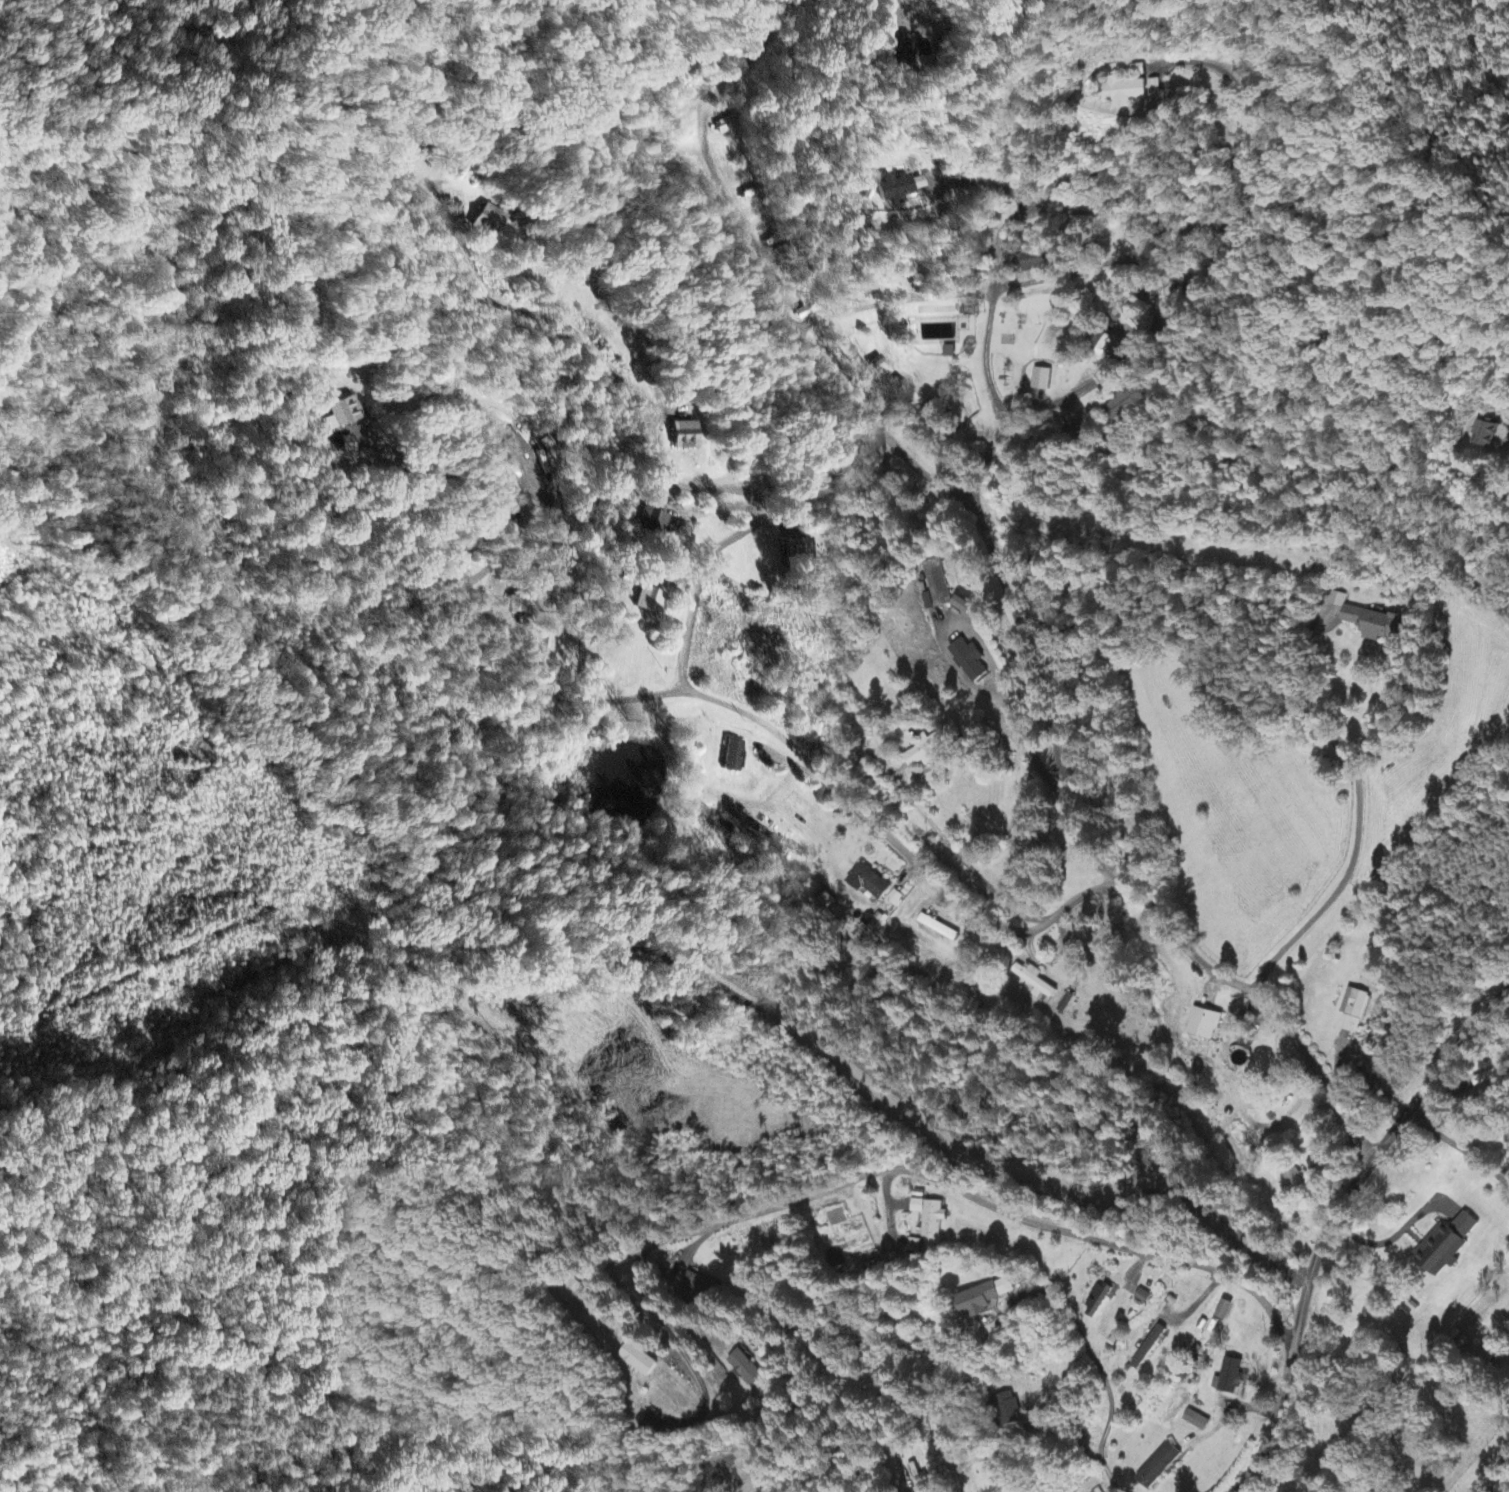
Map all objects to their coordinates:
building: (904, 48)
building: (1137, 70)
building: (1124, 92)
building: (727, 126)
building: (901, 189)
building: (487, 222)
building: (1106, 345)
building: (1041, 380)
building: (869, 391)
building: (1126, 403)
building: (344, 411)
building: (892, 428)
building: (1486, 435)
building: (685, 436)
building: (515, 447)
road: (760, 506)
building: (652, 522)
building: (800, 550)
building: (935, 586)
building: (650, 601)
building: (520, 605)
building: (1372, 624)
road: (1049, 658)
building: (969, 661)
road: (772, 726)
building: (927, 752)
building: (734, 756)
building: (869, 883)
building: (894, 899)
building: (1034, 980)
road: (1255, 985)
building: (1352, 1011)
building: (1205, 1025)
road: (1459, 1149)
road: (935, 1179)
building: (1294, 1181)
building: (835, 1214)
building: (933, 1221)
road: (1333, 1224)
building: (1507, 1229)
building: (1446, 1246)
building: (696, 1290)
building: (1143, 1298)
building: (984, 1299)
building: (1096, 1302)
building: (1214, 1330)
building: (1148, 1349)
building: (639, 1361)
building: (745, 1370)
building: (1229, 1378)
building: (1009, 1410)
building: (1196, 1422)
road: (1495, 1463)
road: (508, 1464)
building: (1158, 1466)
road: (1106, 1470)
building: (1100, 1491)

